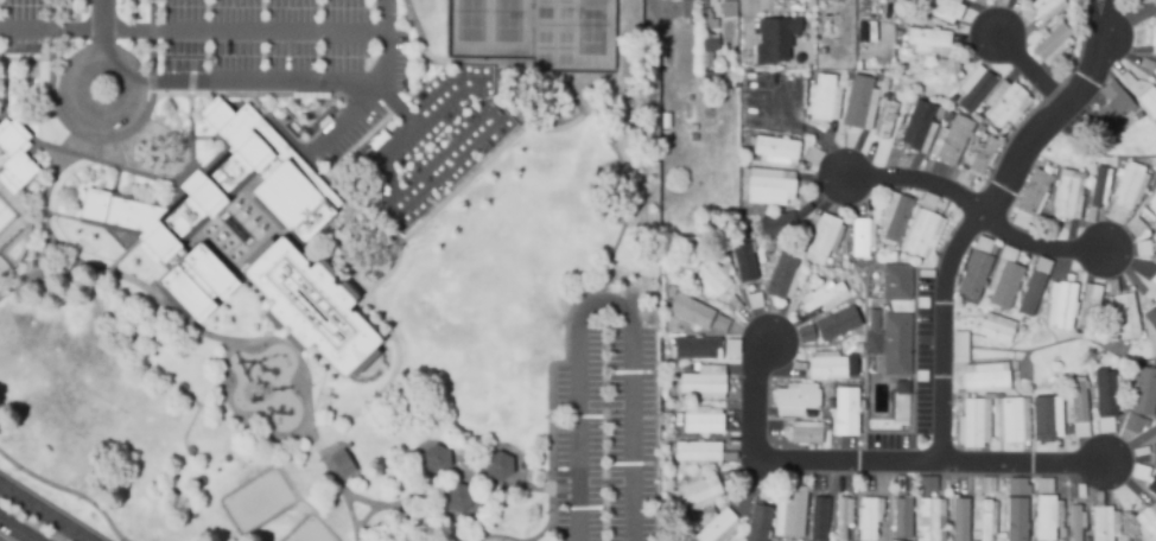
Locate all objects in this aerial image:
building: (871, 0)
building: (830, 1)
building: (1145, 2)
building: (726, 7)
building: (1043, 7)
park: (544, 8)
building: (942, 8)
park: (565, 9)
building: (688, 9)
building: (863, 9)
building: (705, 19)
park: (471, 20)
park: (508, 21)
parking lot: (20, 26)
park: (592, 27)
road: (101, 28)
road: (209, 30)
building: (868, 31)
parking lot: (261, 36)
building: (928, 38)
building: (1152, 38)
building: (775, 39)
building: (1052, 44)
park: (545, 49)
park: (565, 49)
building: (705, 55)
road: (2, 56)
parking lot: (400, 59)
road: (81, 62)
road: (1029, 71)
building: (1155, 72)
road: (5, 74)
building: (936, 77)
road: (279, 82)
building: (976, 91)
parking lot: (773, 98)
building: (822, 100)
building: (855, 101)
building: (1149, 102)
building: (1111, 104)
building: (1004, 107)
road: (385, 108)
road: (341, 122)
building: (887, 122)
building: (917, 127)
road: (813, 132)
road: (129, 133)
parking lot: (351, 134)
building: (704, 136)
parking lot: (436, 140)
building: (953, 142)
road: (78, 146)
building: (775, 149)
building: (813, 154)
building: (13, 157)
building: (983, 157)
road: (484, 164)
road: (428, 176)
building: (768, 182)
road: (912, 183)
building: (1128, 187)
building: (1097, 189)
building: (1033, 193)
building: (1065, 198)
building: (217, 205)
building: (1152, 205)
road: (75, 218)
road: (977, 218)
road: (625, 221)
building: (780, 221)
building: (897, 221)
building: (921, 235)
building: (859, 238)
building: (821, 241)
building: (1154, 243)
building: (1142, 247)
road: (1037, 249)
road: (122, 256)
building: (742, 261)
park: (331, 268)
building: (972, 273)
building: (779, 274)
road: (39, 275)
building: (711, 279)
building: (1154, 279)
building: (896, 285)
building: (1005, 287)
building: (1031, 295)
building: (824, 299)
building: (1088, 299)
building: (754, 300)
road: (605, 303)
building: (310, 306)
building: (1063, 307)
building: (1093, 307)
building: (688, 310)
building: (1152, 314)
building: (1126, 317)
building: (718, 322)
building: (834, 322)
building: (871, 322)
road: (192, 329)
building: (995, 332)
building: (804, 333)
building: (872, 345)
building: (692, 346)
building: (731, 346)
building: (896, 346)
building: (963, 346)
building: (831, 369)
building: (984, 382)
road: (320, 384)
building: (700, 384)
building: (902, 389)
building: (1143, 389)
building: (1109, 392)
building: (796, 400)
road: (750, 401)
building: (1078, 403)
road: (214, 407)
building: (847, 412)
building: (1043, 413)
road: (193, 416)
road: (337, 421)
building: (1011, 421)
building: (1131, 422)
building: (972, 424)
building: (703, 425)
building: (805, 437)
parking lot: (606, 440)
building: (698, 456)
building: (1154, 456)
building: (436, 460)
building: (342, 463)
building: (498, 466)
road: (925, 466)
building: (927, 483)
building: (986, 484)
building: (1043, 484)
building: (1017, 488)
building: (1152, 488)
road: (565, 489)
road: (68, 490)
building: (697, 494)
road: (298, 495)
building: (458, 497)
park: (258, 501)
road: (40, 514)
road: (351, 514)
road: (366, 516)
building: (1043, 518)
building: (788, 520)
building: (840, 520)
building: (814, 521)
building: (868, 521)
building: (902, 521)
building: (928, 521)
building: (957, 521)
building: (985, 521)
building: (1016, 521)
road: (414, 524)
building: (760, 524)
building: (1074, 524)
building: (1101, 524)
building: (1147, 524)
building: (716, 527)
park: (311, 533)
road: (489, 536)

